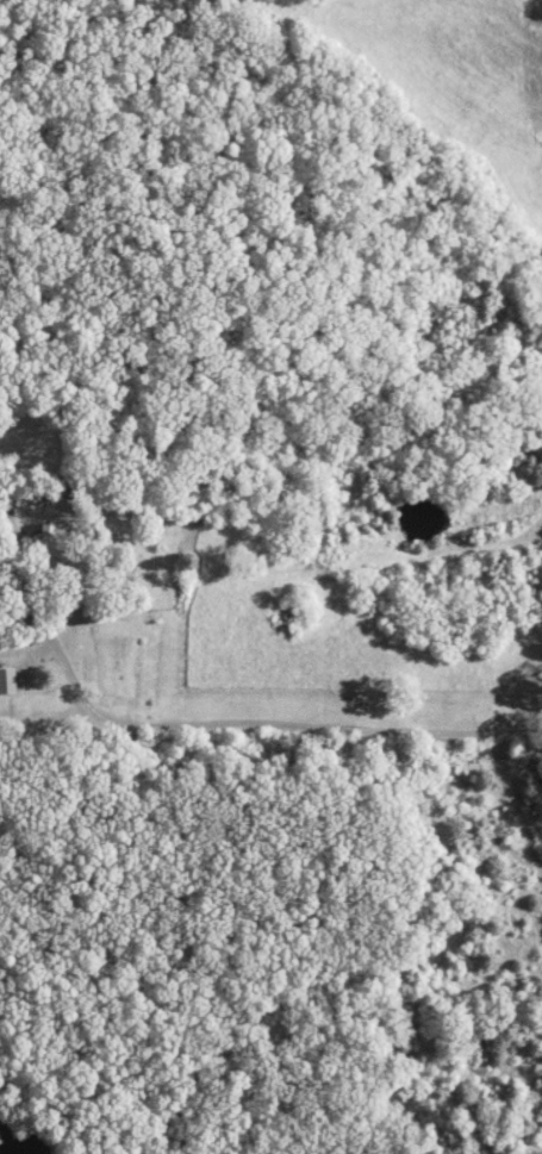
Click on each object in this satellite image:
building: (8, 682)
road: (281, 721)

